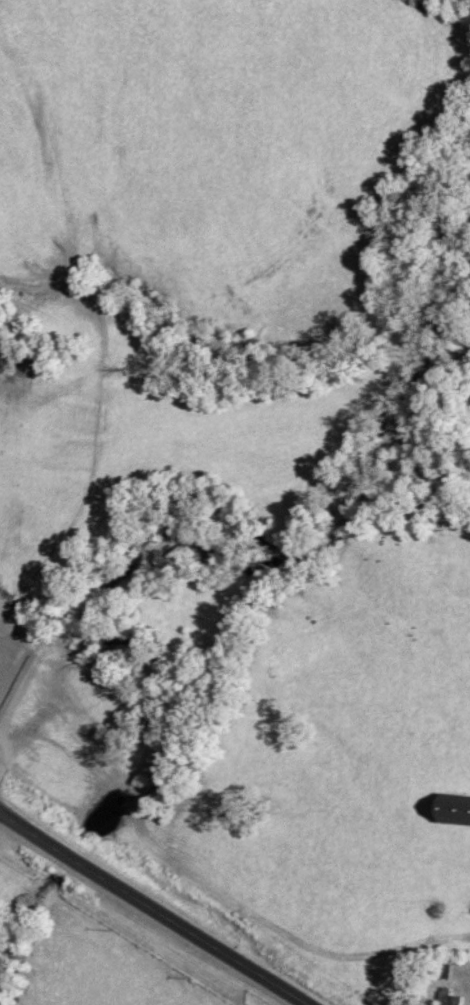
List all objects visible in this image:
building: (455, 809)
road: (150, 910)
building: (452, 1001)

